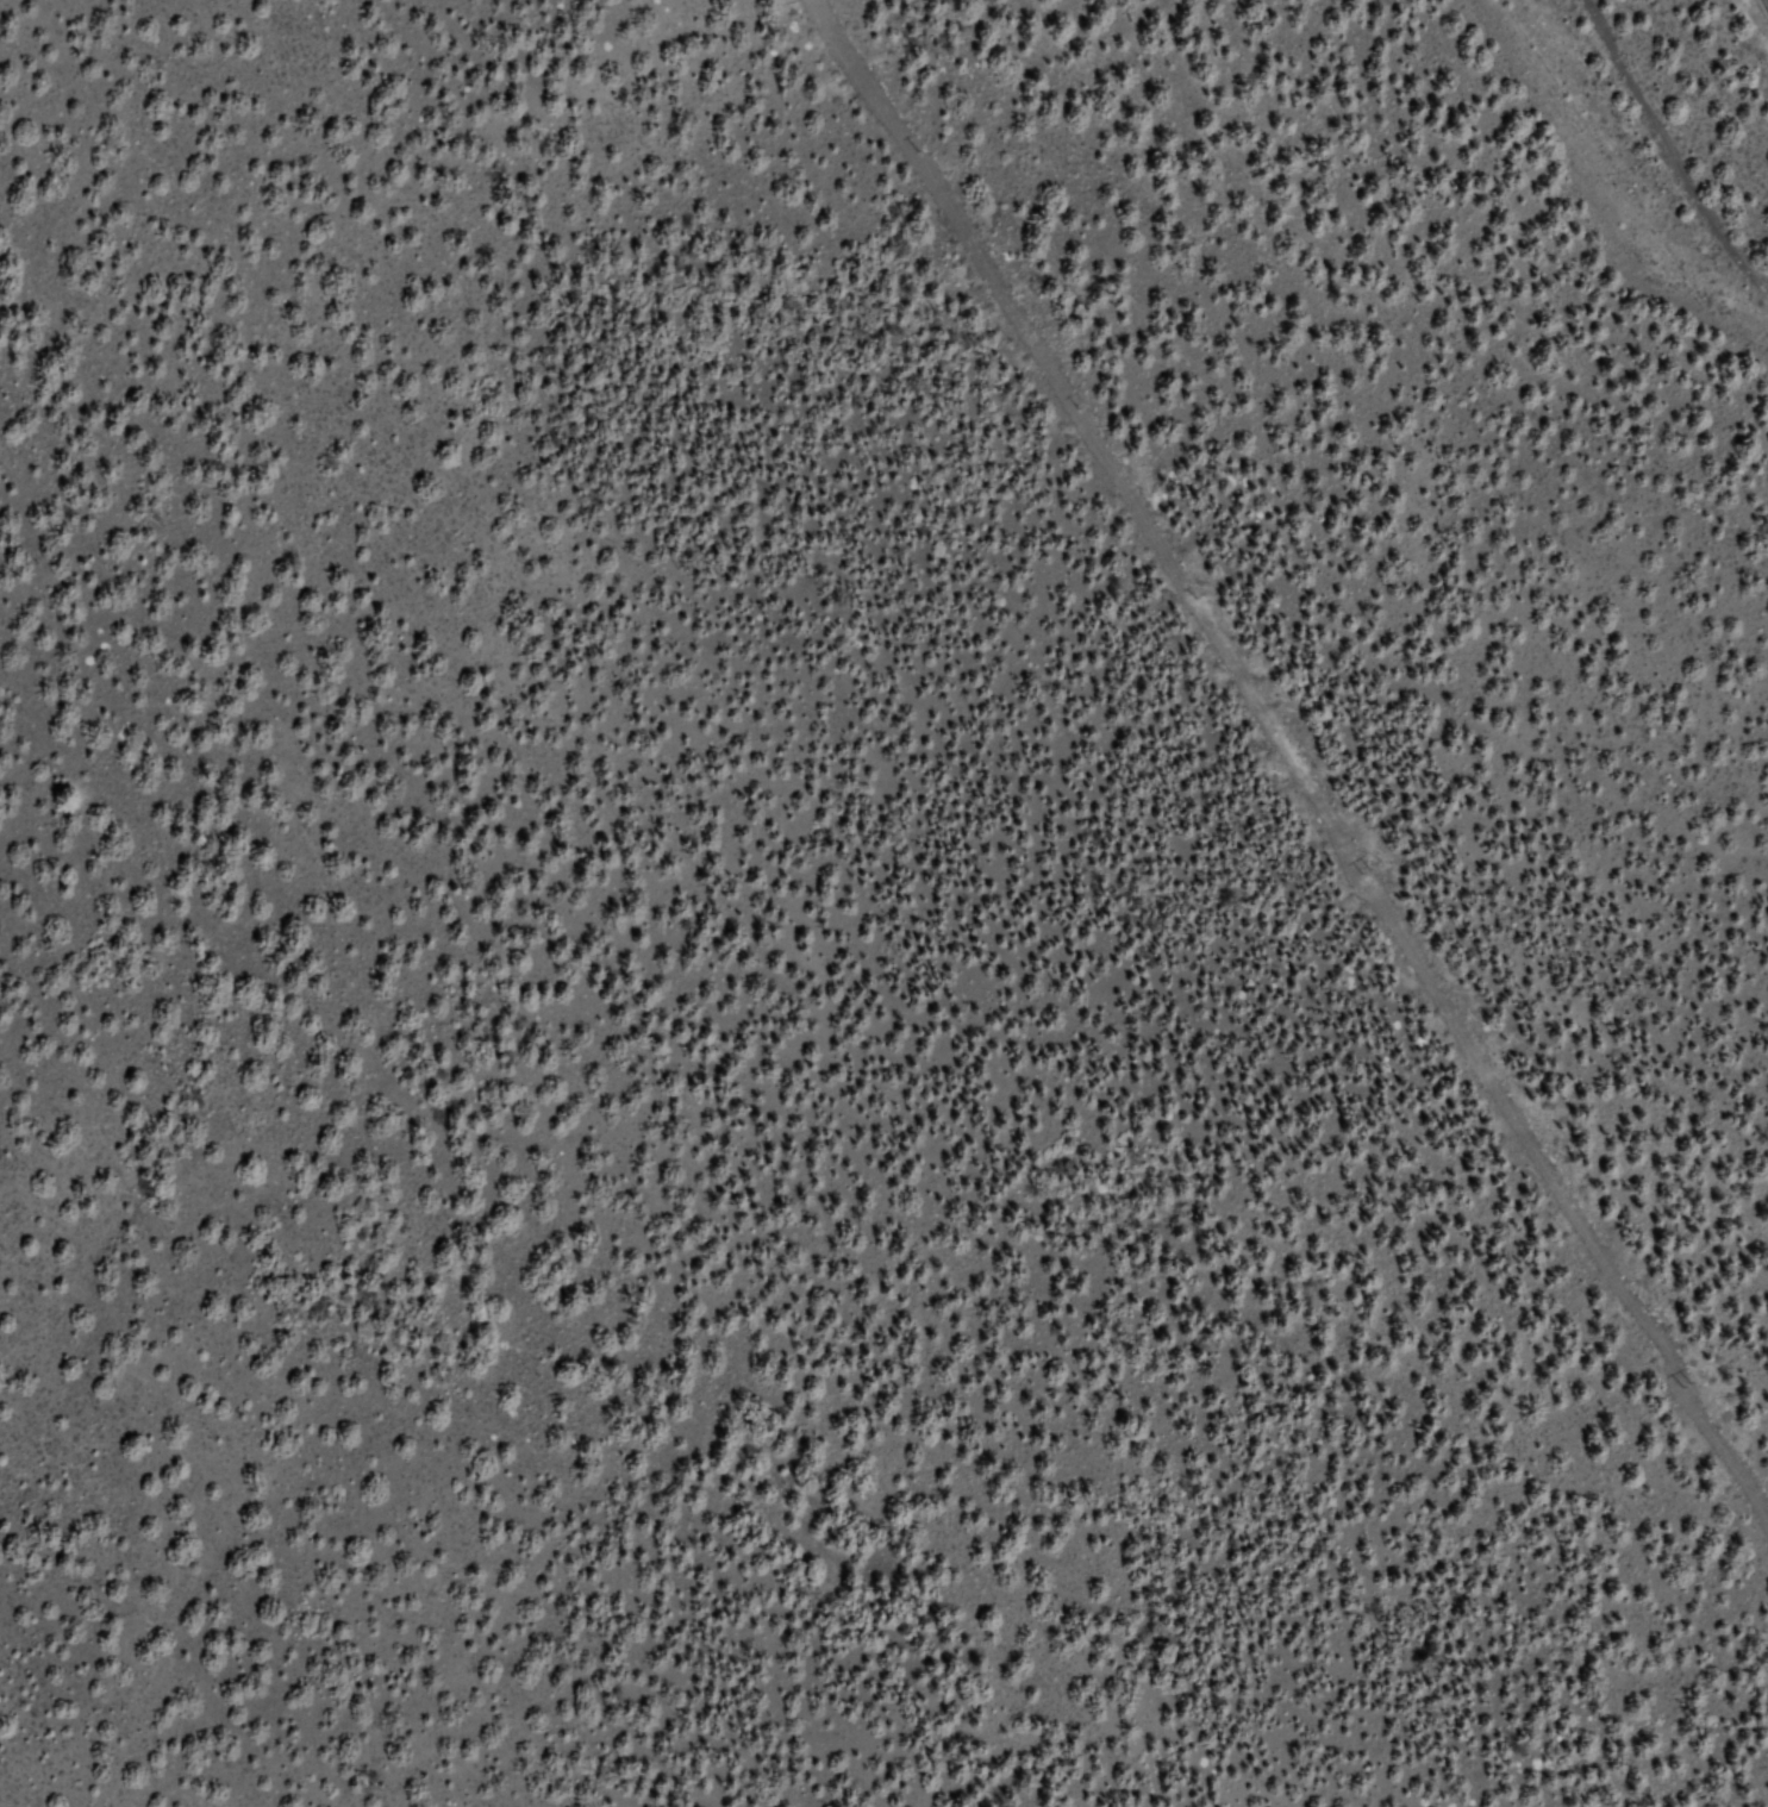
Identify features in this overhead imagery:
road: (1668, 152)

